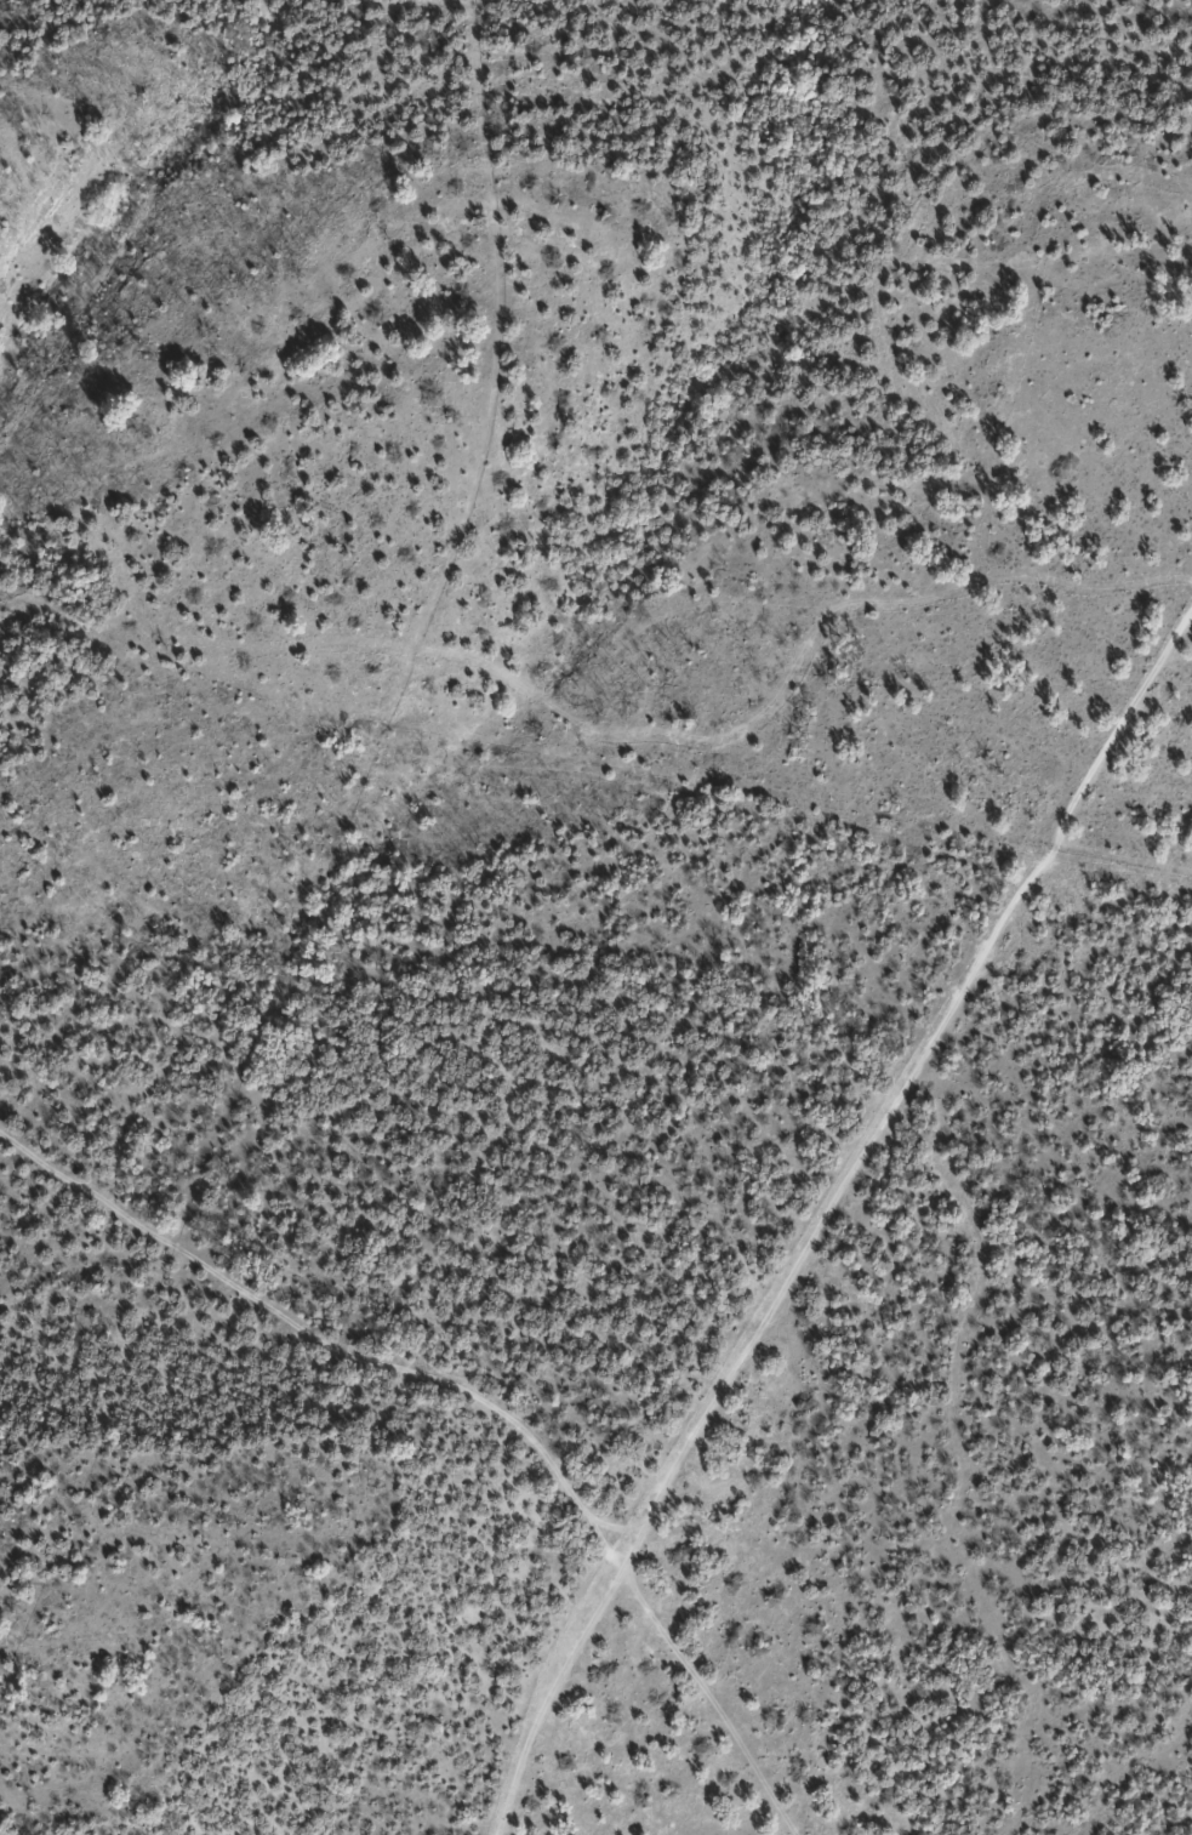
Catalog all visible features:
road: (444, 1441)

